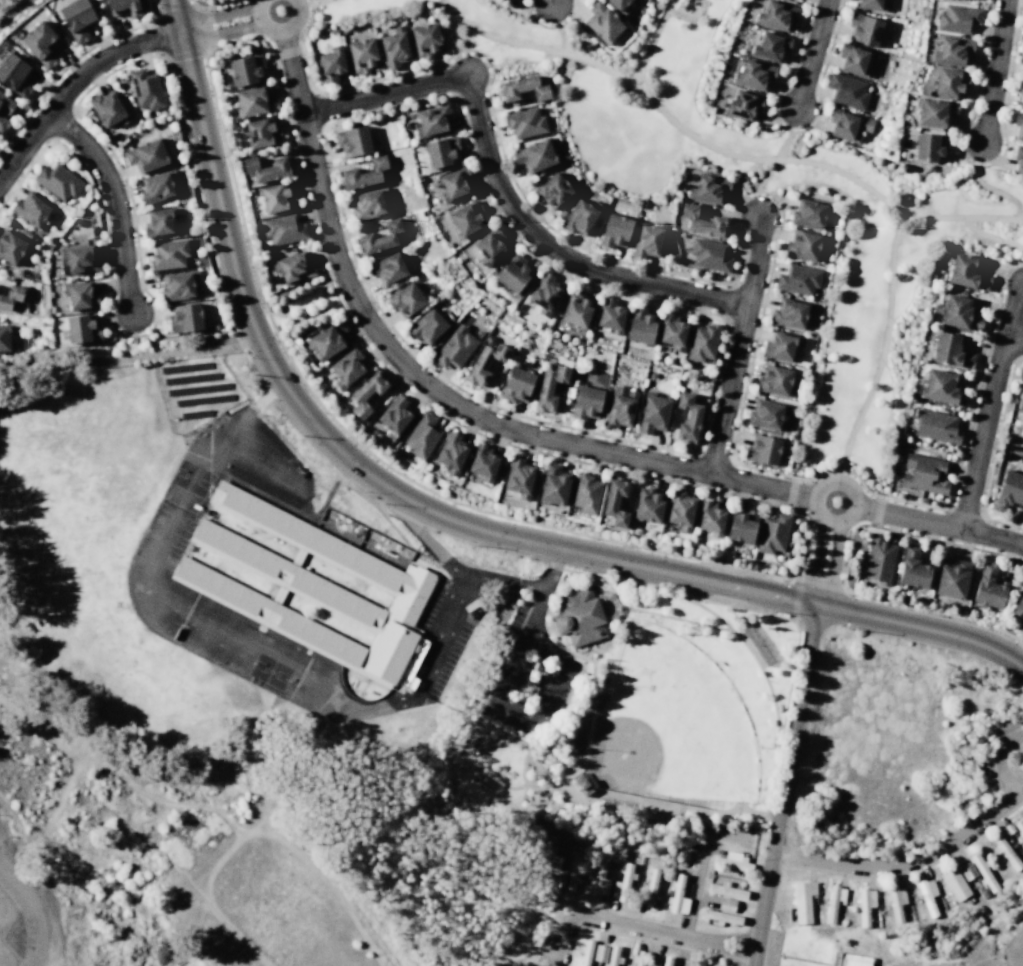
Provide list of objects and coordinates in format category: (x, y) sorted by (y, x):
road: (315, 1)
road: (551, 1)
park: (6, 4)
road: (209, 4)
building: (870, 4)
building: (124, 6)
building: (618, 6)
road: (11, 9)
road: (454, 13)
building: (775, 14)
road: (808, 14)
road: (215, 15)
road: (571, 15)
building: (956, 17)
building: (76, 18)
road: (690, 19)
road: (536, 21)
building: (602, 22)
building: (862, 28)
road: (219, 32)
road: (277, 32)
road: (155, 39)
building: (425, 39)
road: (501, 39)
road: (300, 40)
building: (40, 43)
building: (769, 45)
road: (202, 46)
building: (394, 47)
building: (951, 49)
road: (205, 51)
road: (286, 51)
road: (811, 53)
building: (363, 54)
building: (1020, 54)
road: (584, 58)
building: (852, 58)
road: (488, 63)
building: (330, 64)
road: (823, 67)
building: (247, 69)
road: (994, 70)
building: (14, 74)
building: (753, 74)
road: (387, 76)
building: (948, 81)
road: (72, 82)
road: (210, 82)
road: (783, 85)
building: (524, 88)
building: (144, 89)
building: (846, 90)
building: (1020, 91)
road: (385, 92)
building: (254, 102)
building: (742, 103)
building: (5, 104)
road: (658, 106)
building: (108, 108)
building: (933, 112)
building: (432, 120)
building: (525, 121)
building: (3, 123)
building: (846, 124)
building: (1018, 124)
road: (798, 130)
road: (306, 131)
building: (262, 132)
building: (353, 140)
road: (783, 144)
road: (957, 144)
building: (928, 145)
building: (441, 151)
building: (146, 155)
building: (535, 155)
road: (999, 155)
building: (1018, 159)
road: (814, 162)
building: (267, 168)
building: (363, 173)
road: (192, 178)
building: (57, 181)
building: (455, 183)
building: (157, 186)
building: (709, 188)
park: (751, 188)
building: (553, 189)
road: (997, 190)
building: (277, 197)
road: (115, 200)
building: (368, 203)
building: (32, 208)
building: (811, 213)
building: (581, 216)
building: (467, 217)
building: (159, 221)
building: (703, 221)
building: (283, 228)
building: (615, 230)
building: (93, 232)
road: (990, 235)
building: (379, 237)
building: (648, 239)
building: (803, 244)
building: (491, 245)
building: (10, 246)
road: (551, 252)
building: (168, 253)
building: (709, 254)
building: (79, 258)
road: (755, 259)
building: (293, 267)
building: (389, 267)
building: (966, 271)
building: (515, 272)
building: (797, 279)
road: (890, 280)
building: (178, 284)
building: (545, 293)
building: (10, 295)
building: (80, 296)
building: (406, 299)
park: (300, 306)
building: (576, 309)
building: (791, 312)
building: (957, 312)
road: (310, 313)
building: (610, 315)
building: (185, 317)
building: (641, 325)
building: (429, 326)
building: (82, 328)
building: (672, 330)
building: (478, 333)
building: (5, 338)
building: (328, 339)
road: (1013, 340)
building: (702, 341)
building: (781, 345)
building: (454, 347)
building: (948, 349)
road: (129, 356)
building: (485, 362)
building: (347, 366)
building: (775, 379)
building: (517, 384)
building: (940, 386)
building: (549, 387)
road: (728, 388)
building: (367, 392)
building: (1019, 395)
building: (586, 402)
road: (989, 405)
building: (619, 406)
road: (251, 410)
building: (654, 413)
building: (766, 413)
building: (395, 415)
building: (688, 417)
building: (934, 425)
road: (523, 431)
building: (422, 435)
building: (763, 449)
building: (453, 452)
parking lot: (250, 458)
road: (258, 460)
building: (484, 462)
building: (922, 472)
road: (791, 475)
building: (519, 476)
building: (554, 484)
building: (1008, 490)
road: (790, 491)
building: (586, 492)
road: (884, 496)
building: (616, 500)
building: (649, 504)
building: (680, 509)
road: (437, 514)
road: (174, 517)
building: (711, 517)
road: (940, 523)
building: (743, 525)
road: (836, 526)
building: (773, 532)
building: (877, 559)
road: (845, 562)
road: (816, 563)
road: (453, 565)
road: (832, 566)
building: (910, 566)
road: (553, 569)
road: (798, 576)
building: (950, 577)
road: (801, 579)
parking lot: (155, 585)
building: (986, 586)
building: (313, 588)
building: (1018, 604)
road: (772, 614)
road: (534, 615)
building: (578, 616)
road: (683, 619)
road: (809, 624)
road: (614, 626)
road: (447, 636)
road: (562, 647)
road: (749, 650)
road: (561, 658)
road: (285, 663)
parking lot: (524, 677)
road: (591, 678)
road: (3, 700)
park: (623, 708)
road: (479, 710)
park: (667, 723)
road: (486, 726)
road: (802, 732)
road: (547, 750)
road: (460, 753)
road: (997, 759)
road: (79, 760)
road: (487, 760)
road: (522, 765)
building: (582, 782)
road: (783, 785)
road: (564, 793)
road: (593, 793)
road: (681, 806)
street lamp: (5, 815)
building: (1018, 826)
building: (1008, 827)
building: (1003, 831)
road: (11, 839)
building: (547, 851)
road: (782, 852)
building: (1005, 852)
building: (732, 860)
road: (906, 860)
building: (966, 870)
building: (573, 871)
building: (983, 871)
road: (861, 875)
building: (599, 876)
building: (557, 877)
building: (622, 882)
building: (954, 883)
building: (649, 889)
building: (726, 889)
road: (694, 892)
building: (926, 895)
building: (677, 896)
building: (802, 900)
building: (832, 901)
building: (895, 901)
building: (725, 903)
building: (864, 904)
building: (720, 916)
track: (17, 919)
road: (637, 926)
park: (10, 929)
road: (640, 937)
parking lot: (771, 946)
building: (584, 951)
road: (685, 951)
building: (599, 952)
building: (612, 955)
building: (637, 957)
building: (651, 960)
building: (665, 960)
building: (853, 960)
building: (706, 963)

